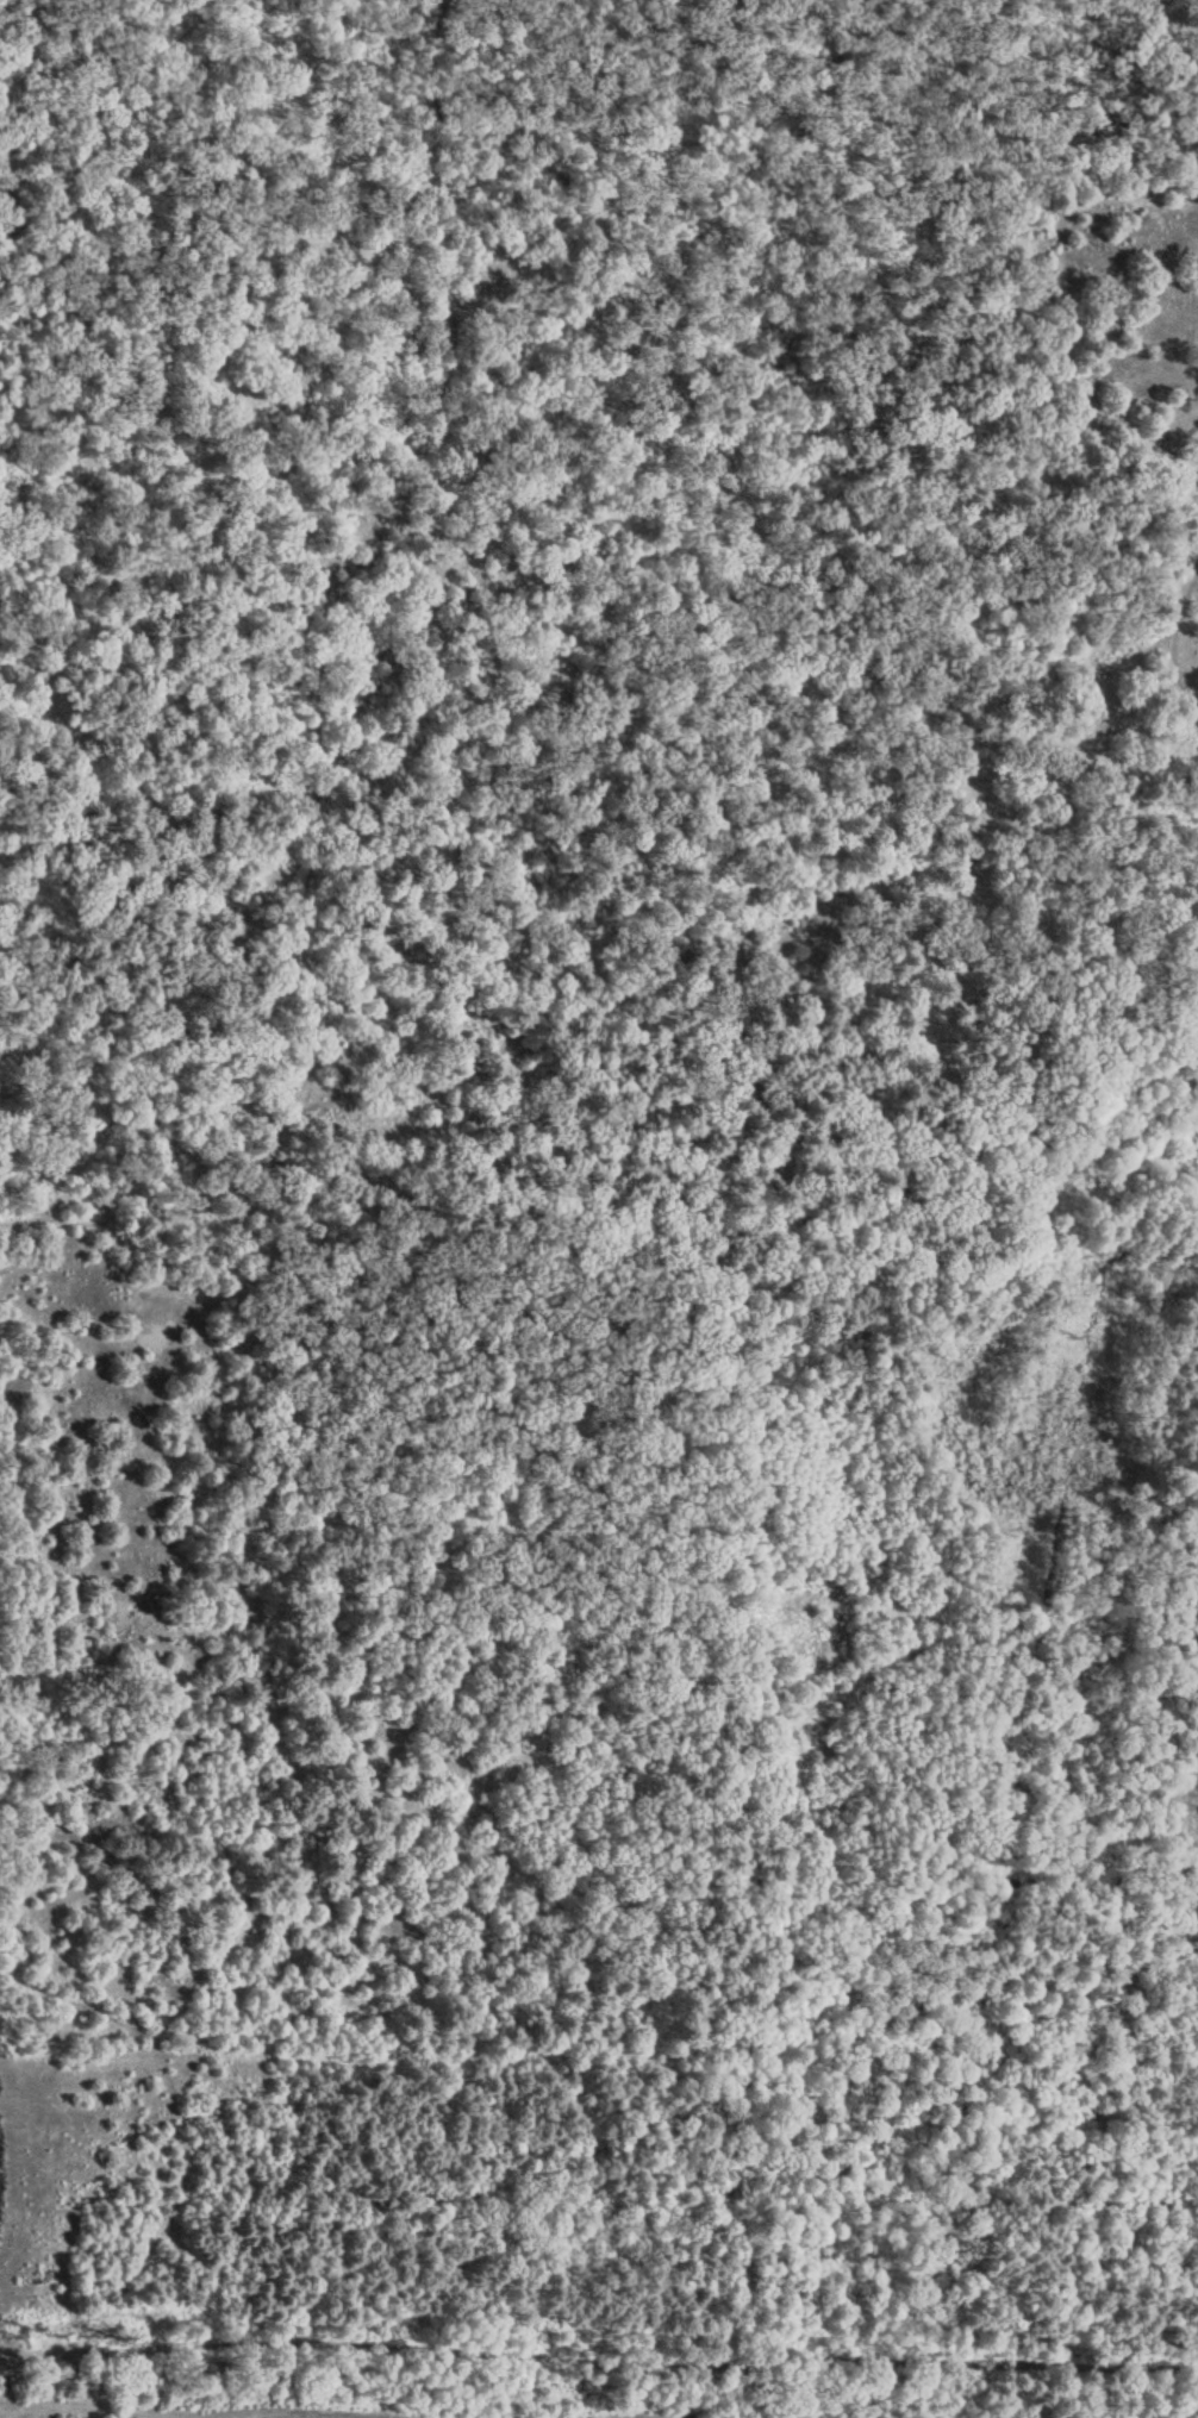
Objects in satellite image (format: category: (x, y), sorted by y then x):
road: (594, 2337)

